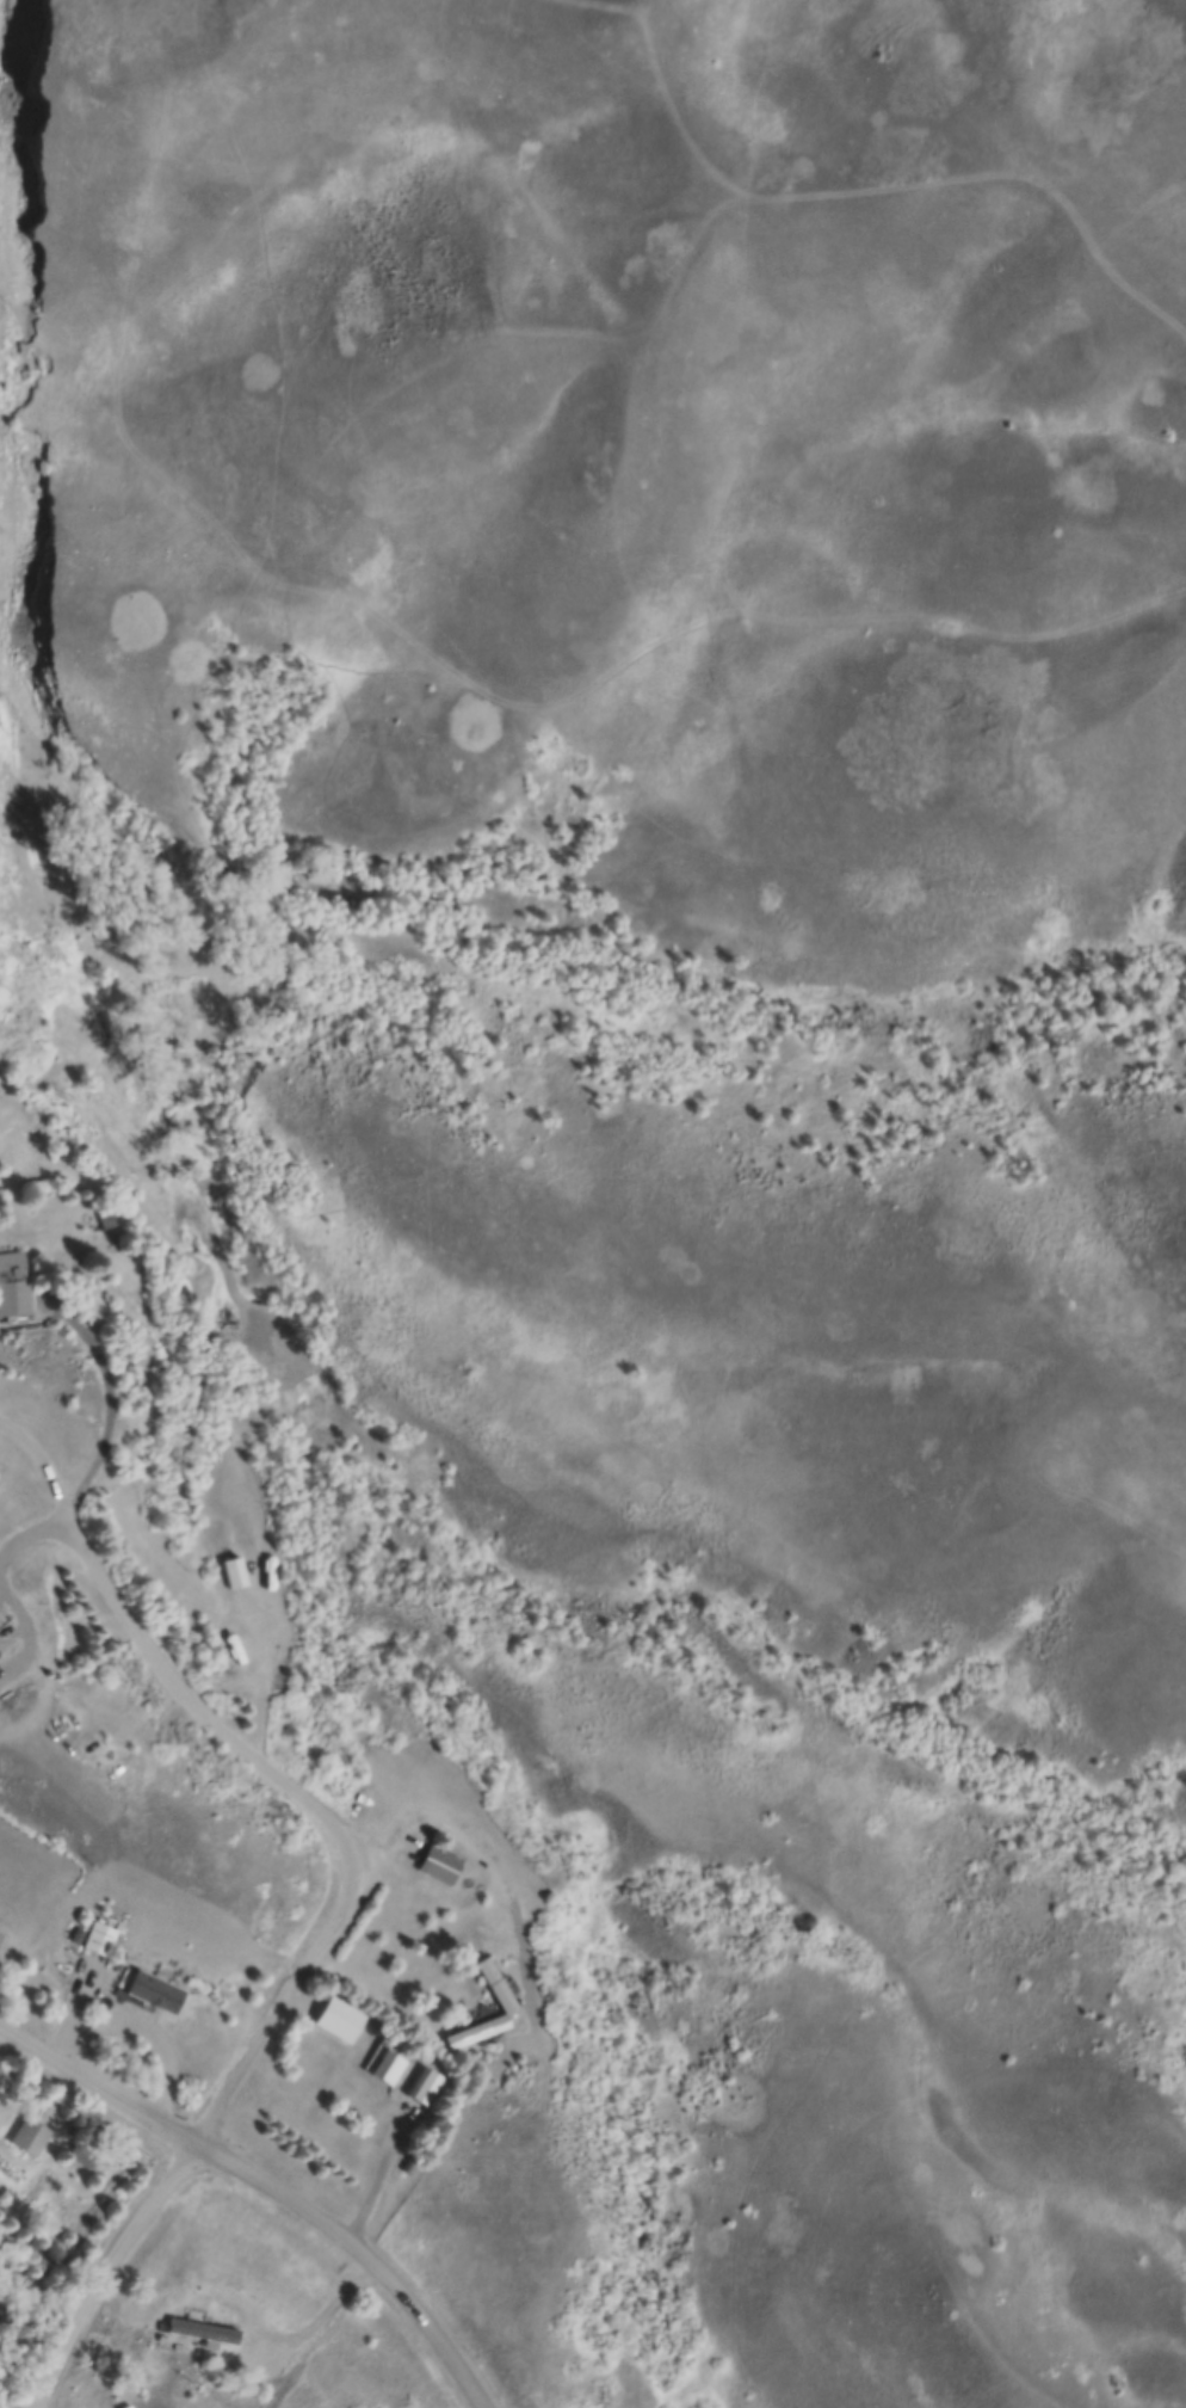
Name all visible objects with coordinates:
building: (106, 1219)
building: (123, 1268)
building: (13, 1283)
road: (111, 1402)
building: (234, 1571)
road: (4, 1584)
road: (160, 1668)
building: (1, 1670)
road: (268, 1677)
building: (438, 1865)
road: (494, 1868)
building: (75, 1934)
building: (1, 1936)
building: (99, 1938)
building: (496, 1985)
building: (154, 1990)
building: (335, 2018)
building: (477, 2032)
road: (138, 2033)
building: (387, 2068)
building: (425, 2086)
building: (23, 2133)
road: (204, 2142)
road: (378, 2178)
road: (266, 2186)
building: (199, 2329)
road: (284, 2339)
building: (122, 2406)
building: (130, 2407)

